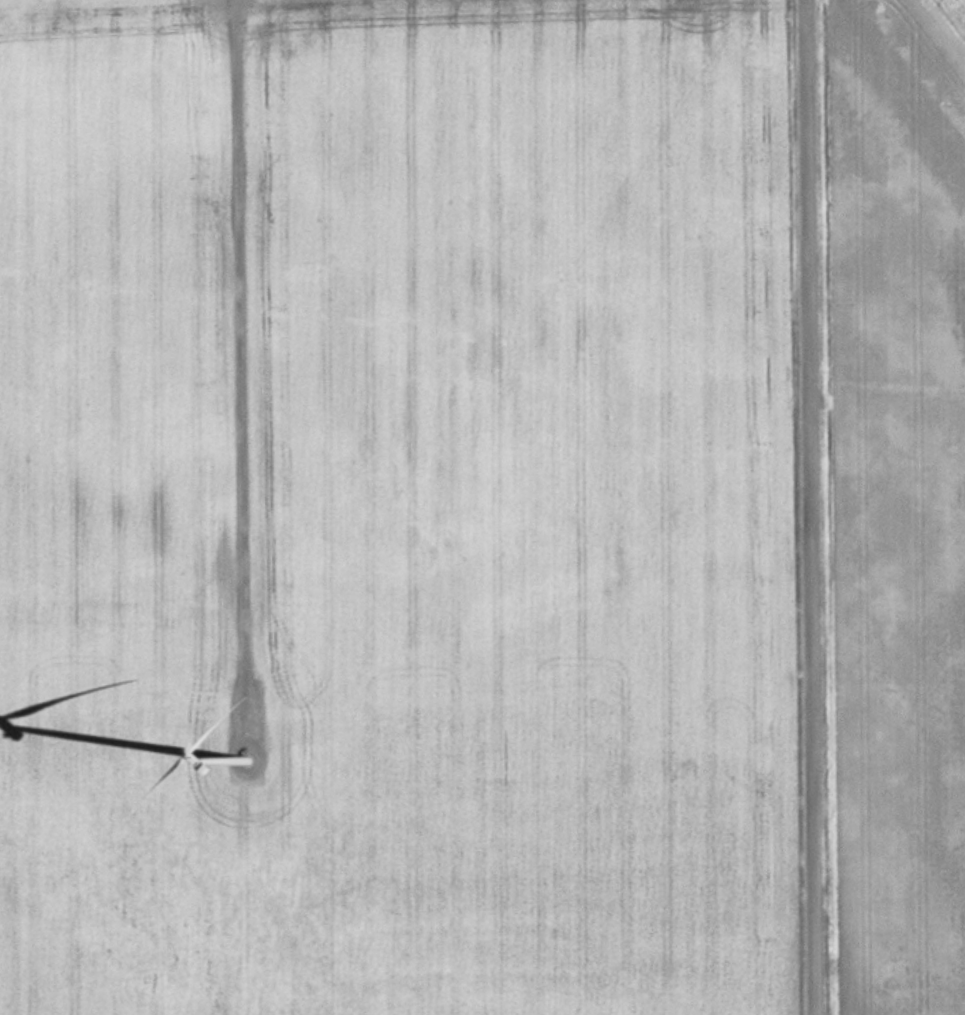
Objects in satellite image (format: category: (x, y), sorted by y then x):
road: (244, 328)
road: (812, 507)
wind turbine: (249, 761)

